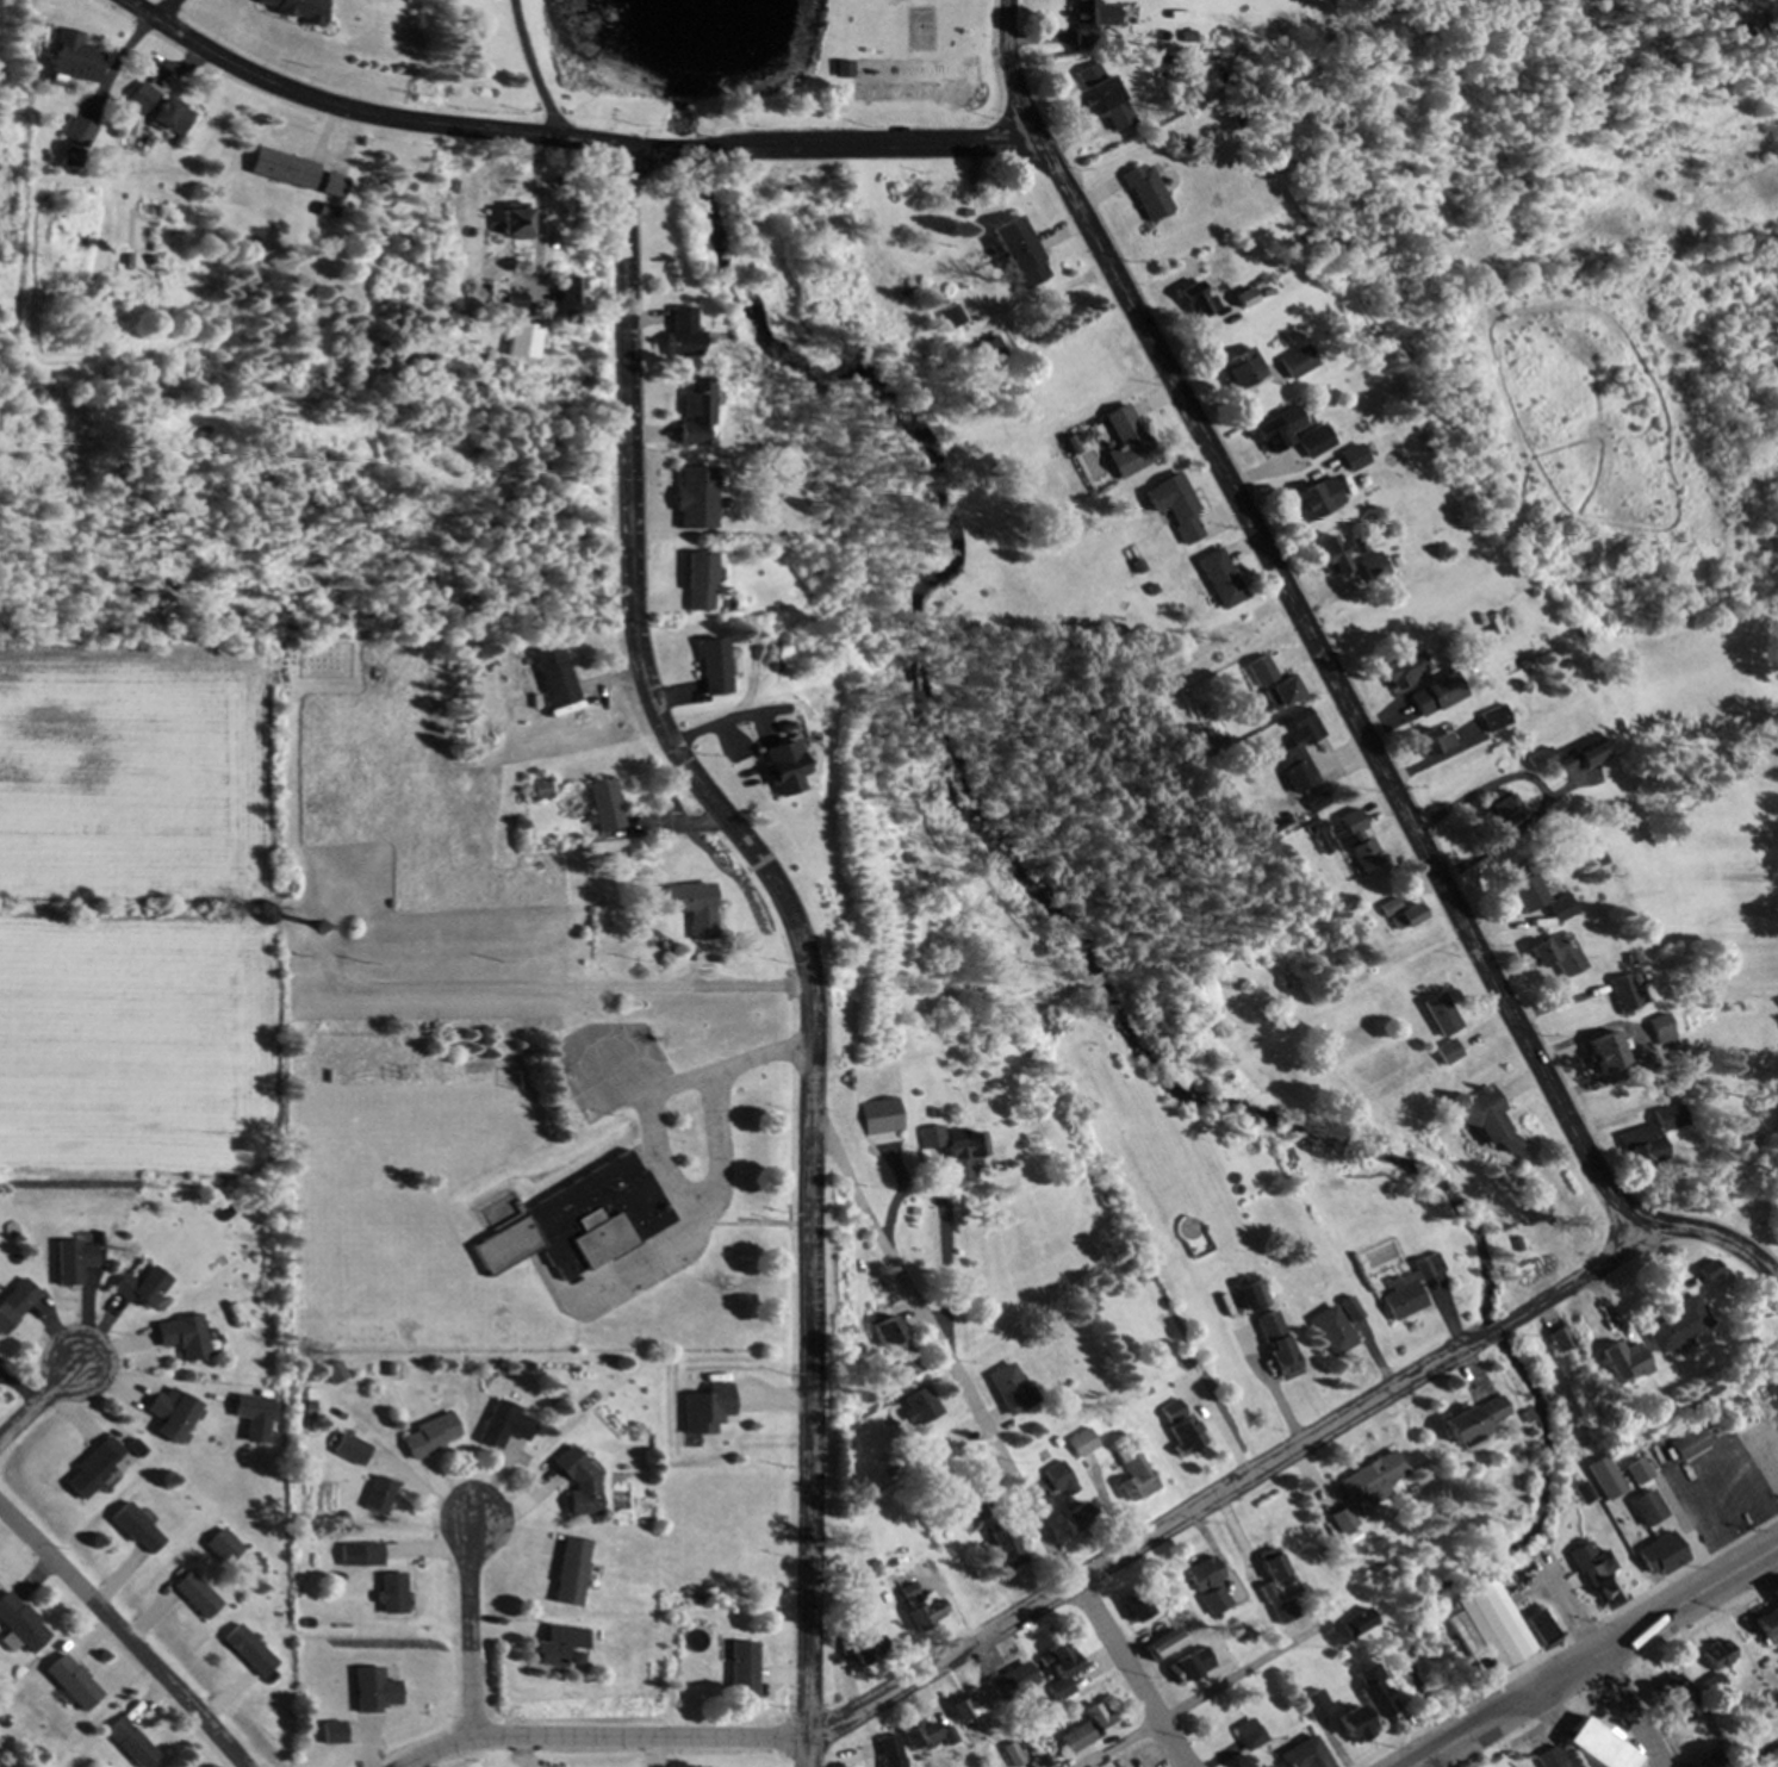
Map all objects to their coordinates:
building: (293, 10)
building: (1098, 24)
building: (921, 38)
building: (75, 60)
road: (496, 66)
park: (895, 71)
building: (843, 73)
building: (1104, 92)
building: (160, 111)
building: (81, 135)
road: (570, 139)
building: (284, 169)
building: (332, 186)
building: (1149, 193)
building: (511, 222)
building: (1020, 255)
building: (561, 297)
building: (952, 318)
building: (678, 331)
building: (993, 353)
building: (1301, 363)
building: (1243, 369)
building: (690, 412)
building: (1280, 431)
building: (1318, 442)
building: (1129, 443)
building: (1355, 459)
building: (690, 498)
building: (1311, 503)
building: (1176, 506)
building: (1333, 556)
building: (1221, 580)
building: (696, 581)
building: (1497, 627)
building: (710, 667)
building: (1262, 672)
building: (1405, 674)
building: (554, 677)
road: (1339, 686)
building: (1283, 693)
building: (1435, 697)
building: (1496, 721)
building: (1437, 741)
building: (1300, 752)
building: (1583, 760)
building: (778, 769)
building: (543, 792)
building: (604, 807)
building: (1505, 813)
building: (1360, 842)
building: (1538, 896)
building: (1393, 908)
building: (691, 909)
building: (1412, 916)
water tower: (316, 925)
building: (316, 929)
road: (798, 934)
building: (1559, 956)
building: (1623, 995)
building: (1444, 1015)
building: (1660, 1031)
building: (1450, 1053)
building: (1609, 1053)
building: (865, 1120)
building: (1492, 1122)
building: (1652, 1137)
building: (947, 1144)
building: (579, 1225)
building: (75, 1263)
building: (1704, 1271)
building: (143, 1289)
building: (1411, 1289)
building: (1251, 1298)
building: (17, 1306)
building: (1673, 1326)
building: (1332, 1333)
building: (186, 1338)
building: (1565, 1343)
building: (1277, 1348)
building: (895, 1349)
building: (1622, 1362)
building: (337, 1374)
road: (154, 1379)
building: (1771, 1381)
road: (1419, 1386)
building: (1007, 1392)
road: (43, 1401)
building: (918, 1408)
building: (255, 1410)
building: (708, 1411)
building: (174, 1417)
building: (1477, 1420)
building: (508, 1427)
building: (1179, 1429)
building: (434, 1438)
road: (994, 1445)
building: (1080, 1445)
building: (1692, 1445)
building: (930, 1456)
building: (97, 1470)
building: (1132, 1475)
building: (1372, 1480)
building: (582, 1483)
building: (1059, 1483)
building: (383, 1497)
building: (1649, 1511)
building: (1343, 1523)
building: (139, 1531)
building: (1000, 1553)
building: (365, 1555)
building: (1662, 1560)
building: (571, 1573)
building: (1598, 1574)
building: (1207, 1588)
building: (1267, 1592)
building: (1776, 1593)
building: (396, 1594)
road: (1059, 1594)
building: (200, 1597)
building: (1134, 1607)
building: (921, 1614)
building: (1360, 1624)
building: (20, 1625)
building: (1492, 1625)
building: (1767, 1628)
road: (474, 1629)
building: (1540, 1629)
road: (124, 1634)
building: (558, 1647)
building: (1162, 1647)
building: (251, 1651)
building: (1718, 1657)
road: (1597, 1659)
road: (1600, 1662)
building: (1188, 1667)
building: (741, 1672)
building: (1059, 1673)
building: (1015, 1681)
building: (73, 1684)
building: (378, 1692)
road: (1208, 1694)
building: (1375, 1696)
building: (1673, 1698)
building: (970, 1706)
building: (1353, 1726)
building: (1088, 1730)
building: (1248, 1736)
building: (921, 1738)
building: (1590, 1740)
building: (132, 1744)
building: (891, 1753)
building: (1303, 1755)
building: (1550, 1759)
road: (1776, 1766)

